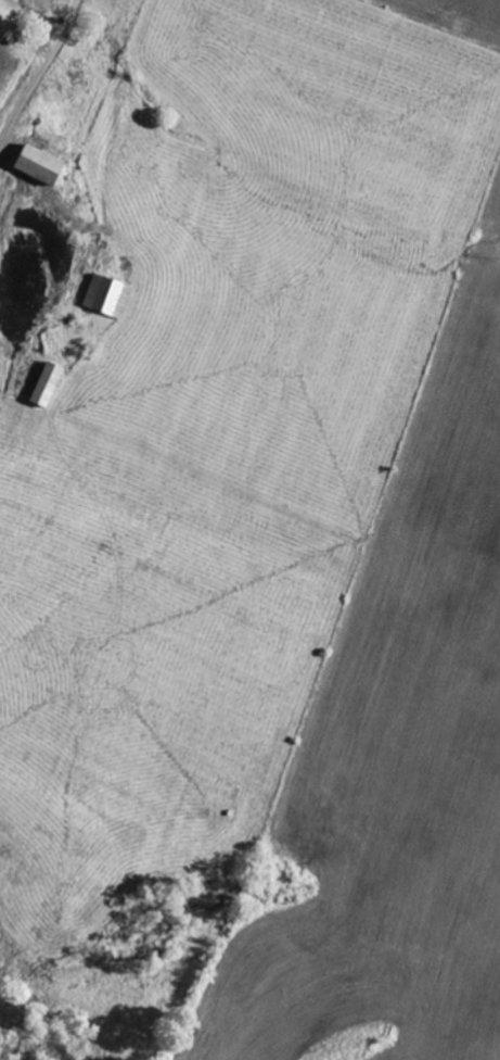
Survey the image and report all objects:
building: (46, 166)
building: (110, 295)
building: (51, 384)

